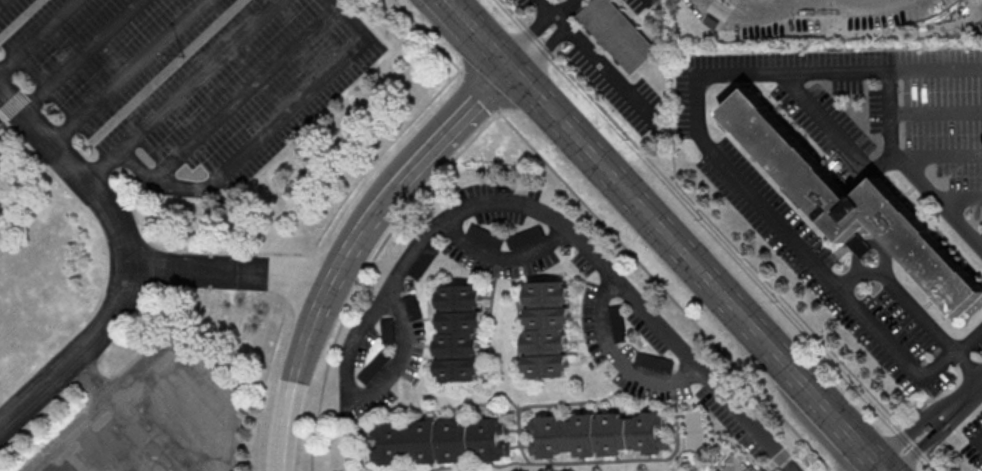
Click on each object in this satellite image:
road: (2, 1)
road: (572, 9)
road: (478, 35)
road: (545, 35)
road: (39, 36)
building: (621, 37)
road: (84, 56)
road: (608, 69)
road: (129, 72)
road: (202, 76)
road: (248, 91)
road: (252, 143)
road: (720, 158)
building: (0, 161)
building: (1, 164)
road: (905, 172)
building: (859, 208)
road: (554, 218)
road: (651, 218)
road: (355, 248)
road: (133, 253)
road: (503, 257)
building: (420, 265)
road: (903, 292)
building: (412, 306)
building: (546, 329)
building: (387, 330)
building: (460, 332)
road: (73, 343)
road: (400, 355)
road: (618, 360)
road: (968, 364)
road: (981, 381)
road: (961, 398)
road: (832, 413)
building: (603, 434)
road: (897, 437)
building: (441, 440)
road: (923, 446)
building: (737, 464)
road: (878, 465)

